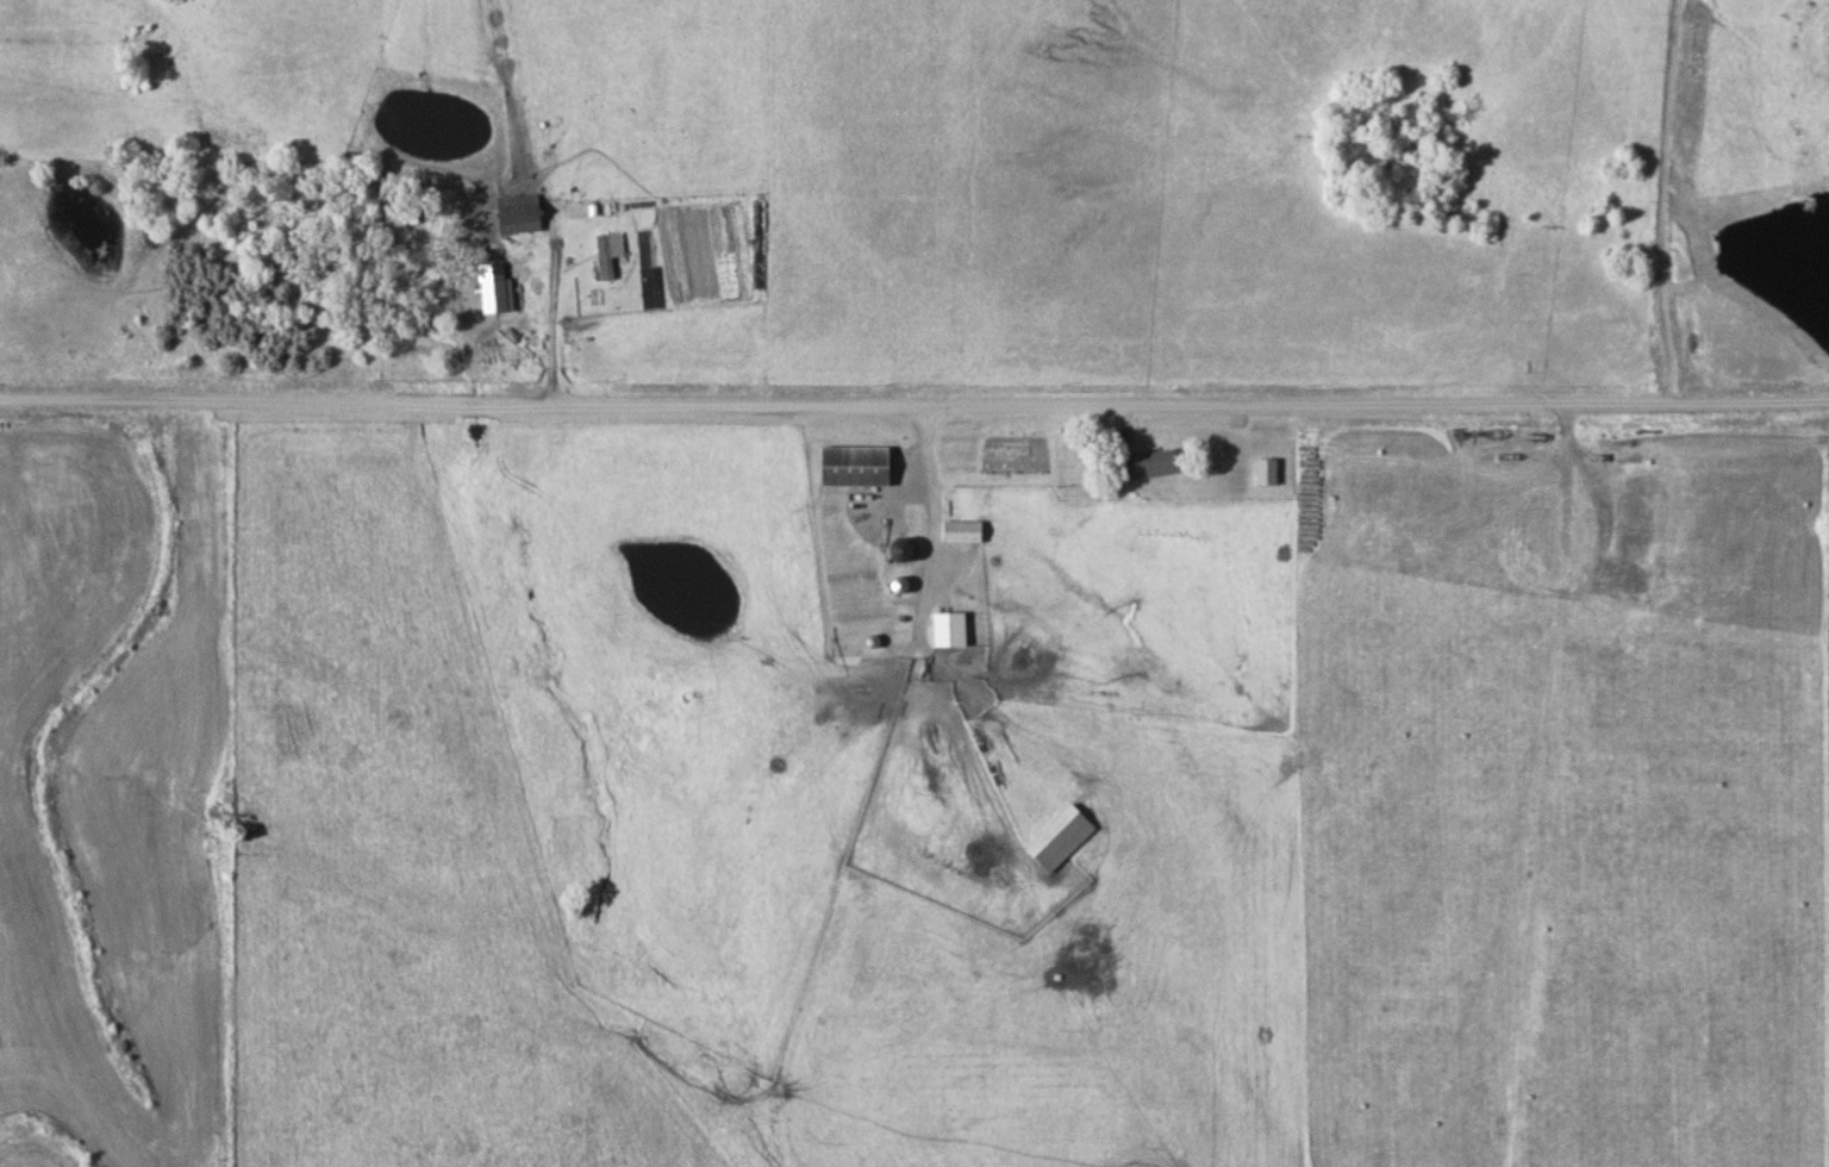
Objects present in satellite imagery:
road: (913, 408)
building: (1154, 464)
building: (857, 467)
road: (941, 517)
building: (966, 531)
building: (905, 549)
building: (903, 585)
building: (953, 629)
building: (1063, 838)

